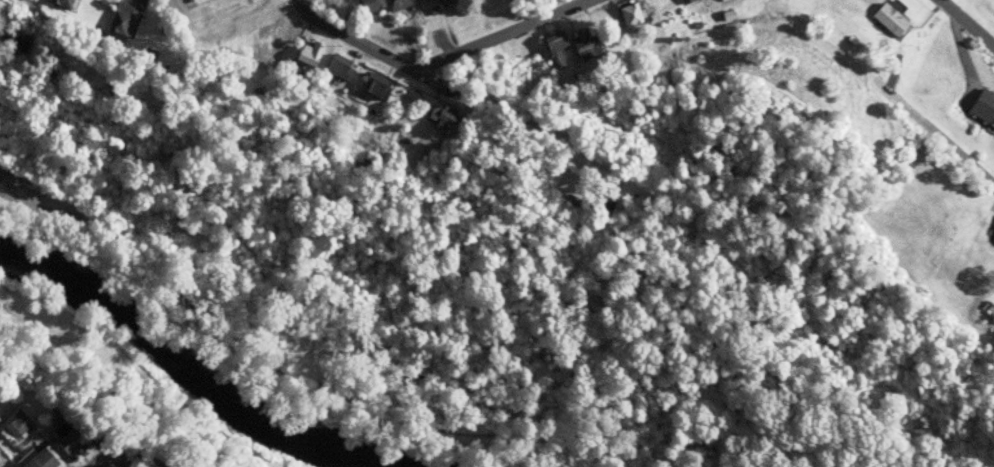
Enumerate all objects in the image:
building: (413, 0)
building: (442, 1)
building: (685, 1)
building: (62, 3)
building: (395, 4)
building: (369, 5)
building: (248, 15)
building: (118, 22)
road: (963, 25)
road: (507, 38)
building: (271, 40)
building: (580, 45)
building: (552, 46)
road: (365, 51)
building: (305, 52)
building: (337, 66)
building: (44, 68)
building: (373, 84)
building: (982, 107)
building: (437, 115)
road: (942, 146)
building: (601, 198)
building: (990, 231)
river: (182, 369)
road: (11, 402)
building: (15, 424)
building: (64, 440)
road: (114, 452)
road: (144, 452)
building: (40, 458)

